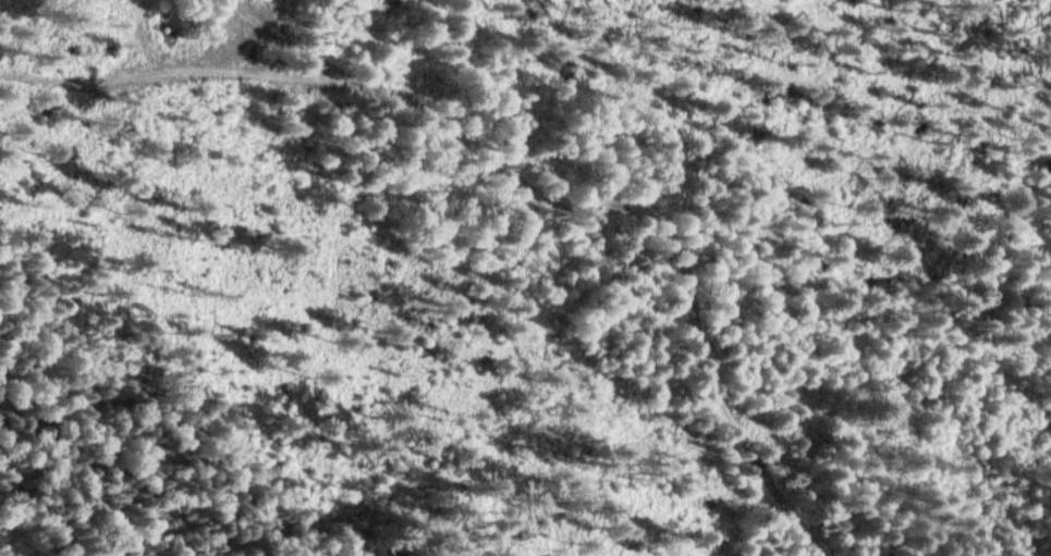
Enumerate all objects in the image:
road: (508, 172)

